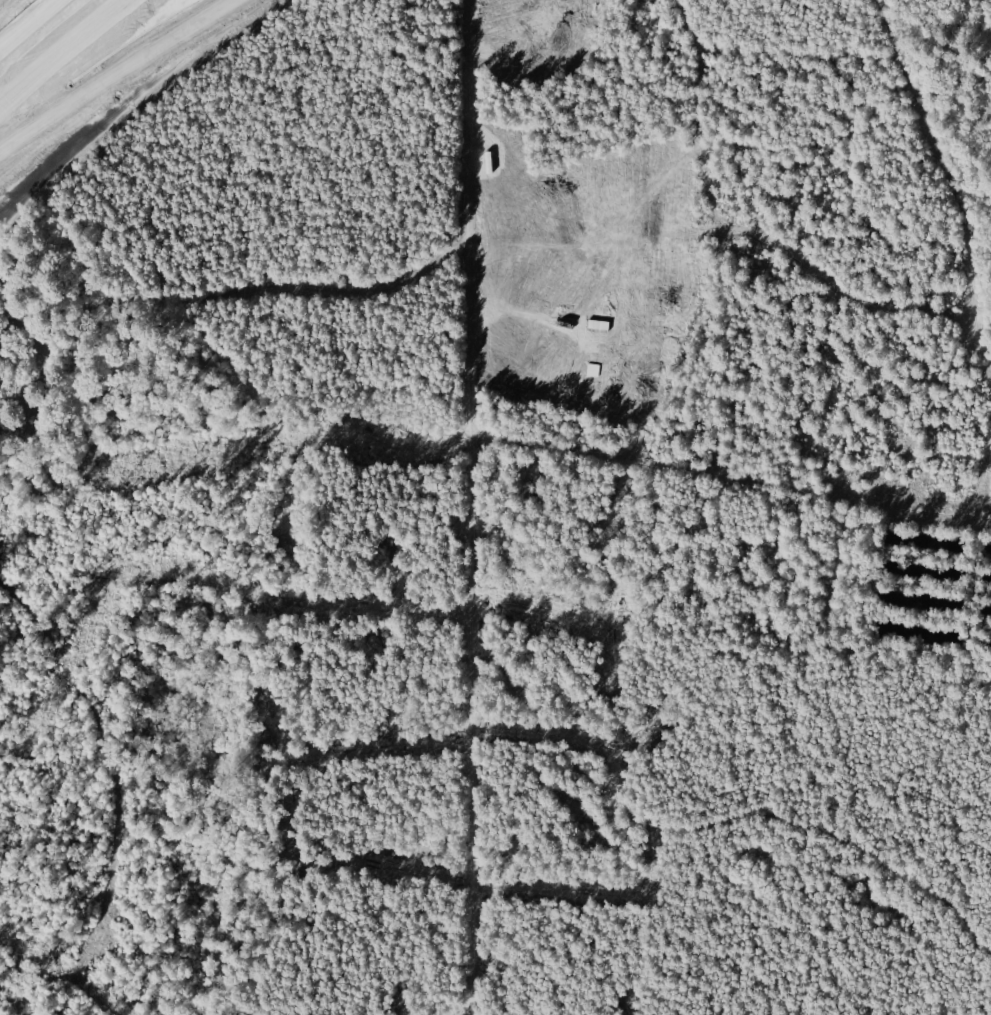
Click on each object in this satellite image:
road: (28, 24)
road: (64, 55)
road: (120, 76)
road: (469, 507)

